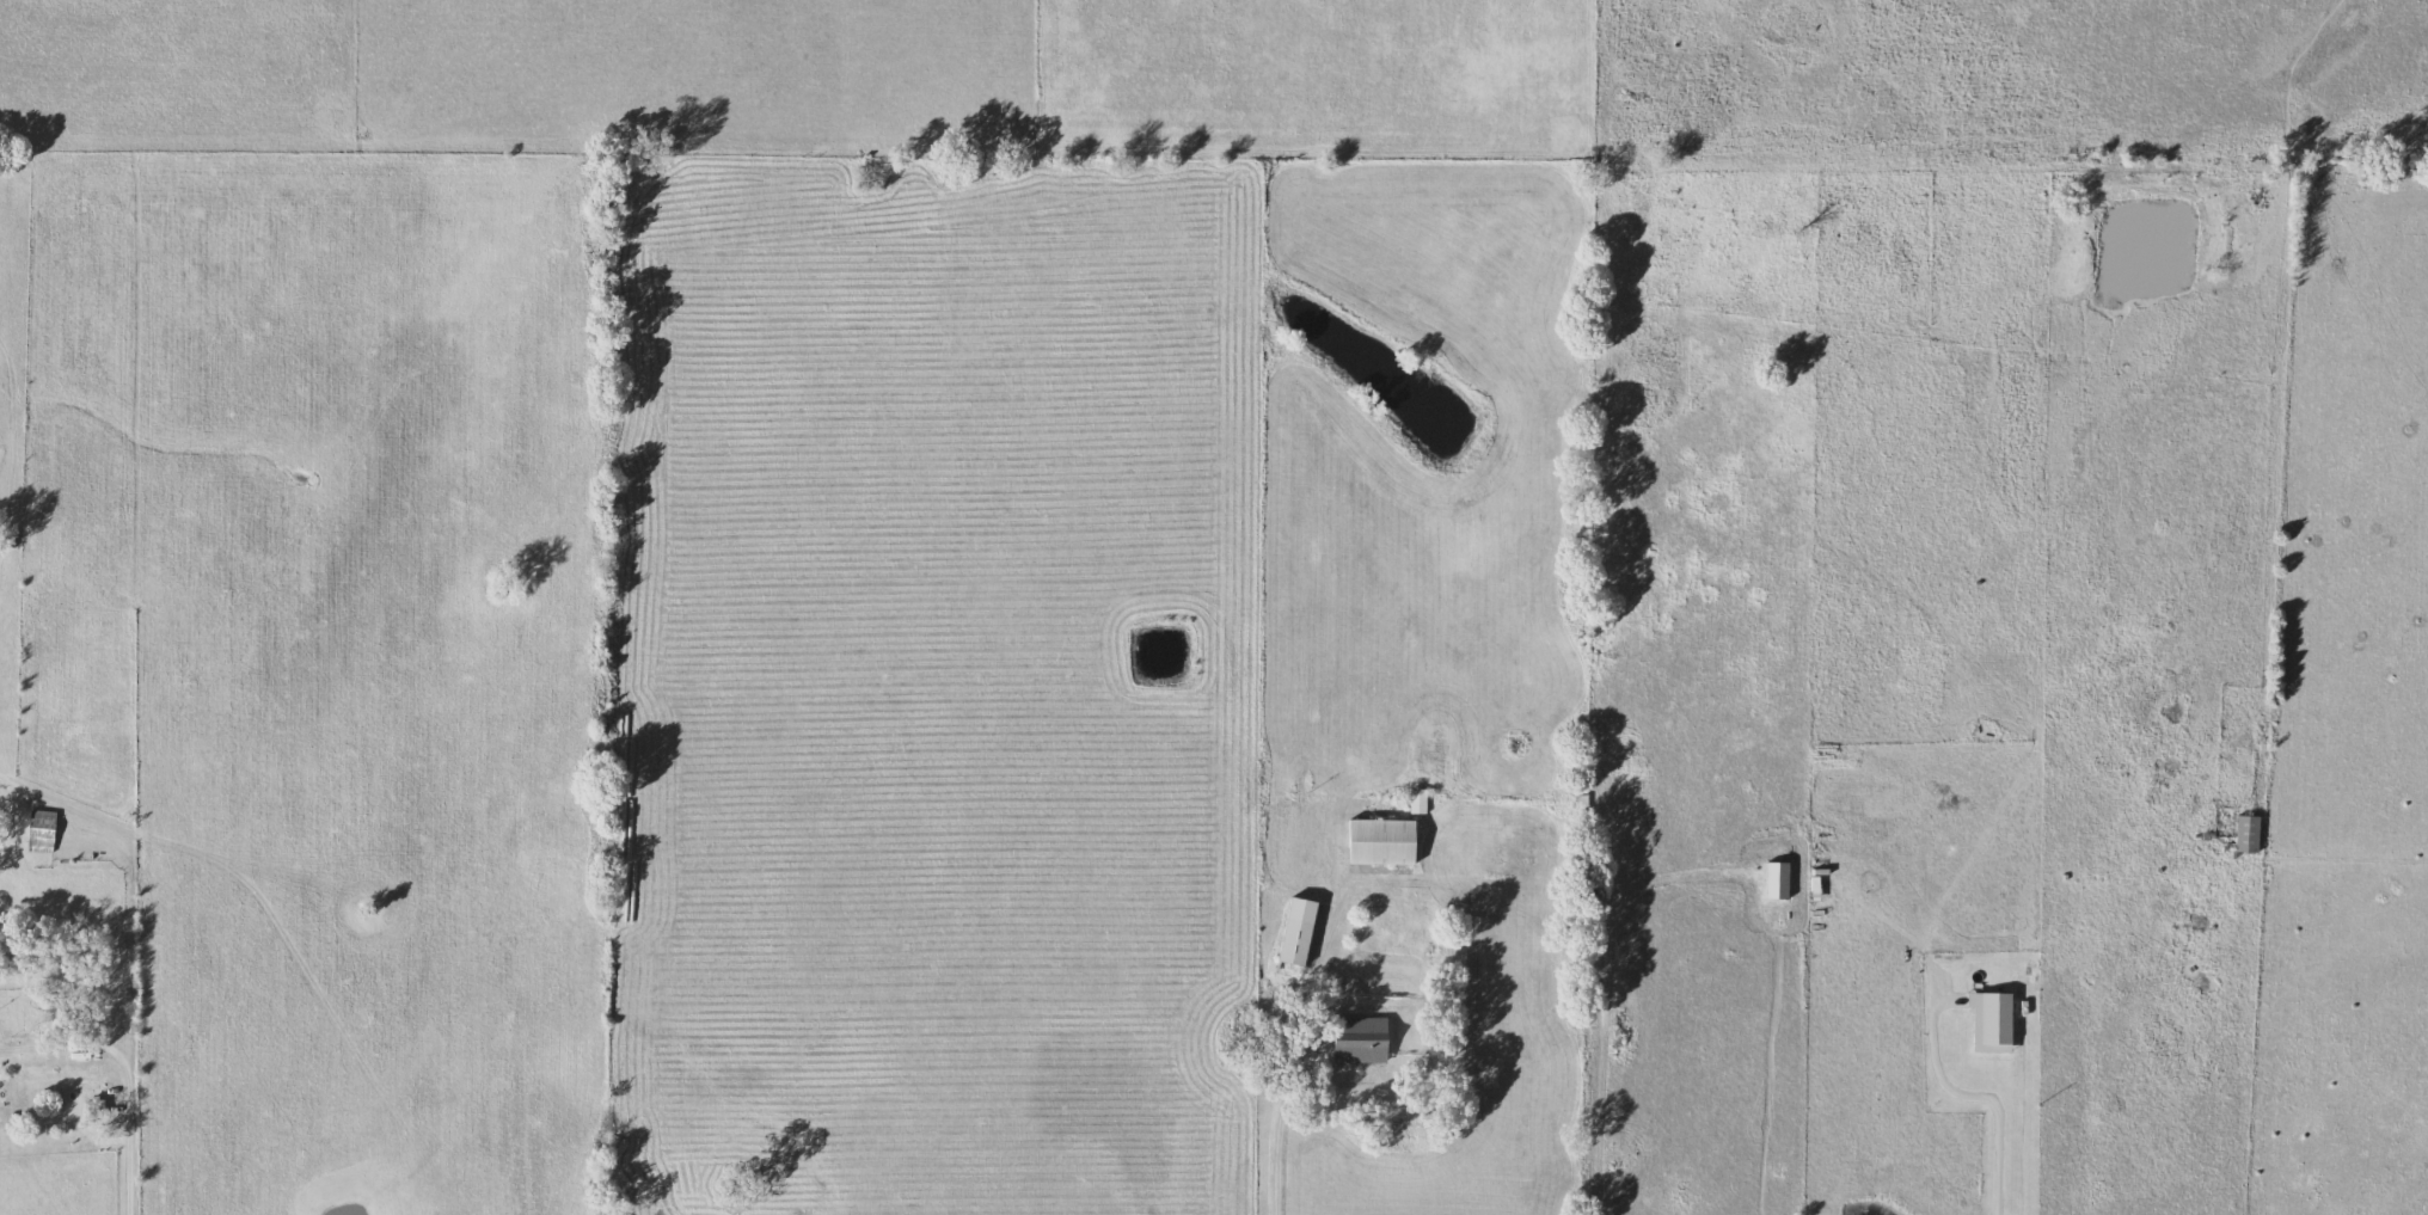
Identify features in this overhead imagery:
building: (1420, 800)
building: (45, 830)
building: (2250, 833)
building: (1386, 840)
building: (1302, 931)
road: (1608, 992)
building: (1366, 1038)
road: (127, 1072)
road: (1998, 1085)
building: (97, 1109)
road: (1279, 1123)

